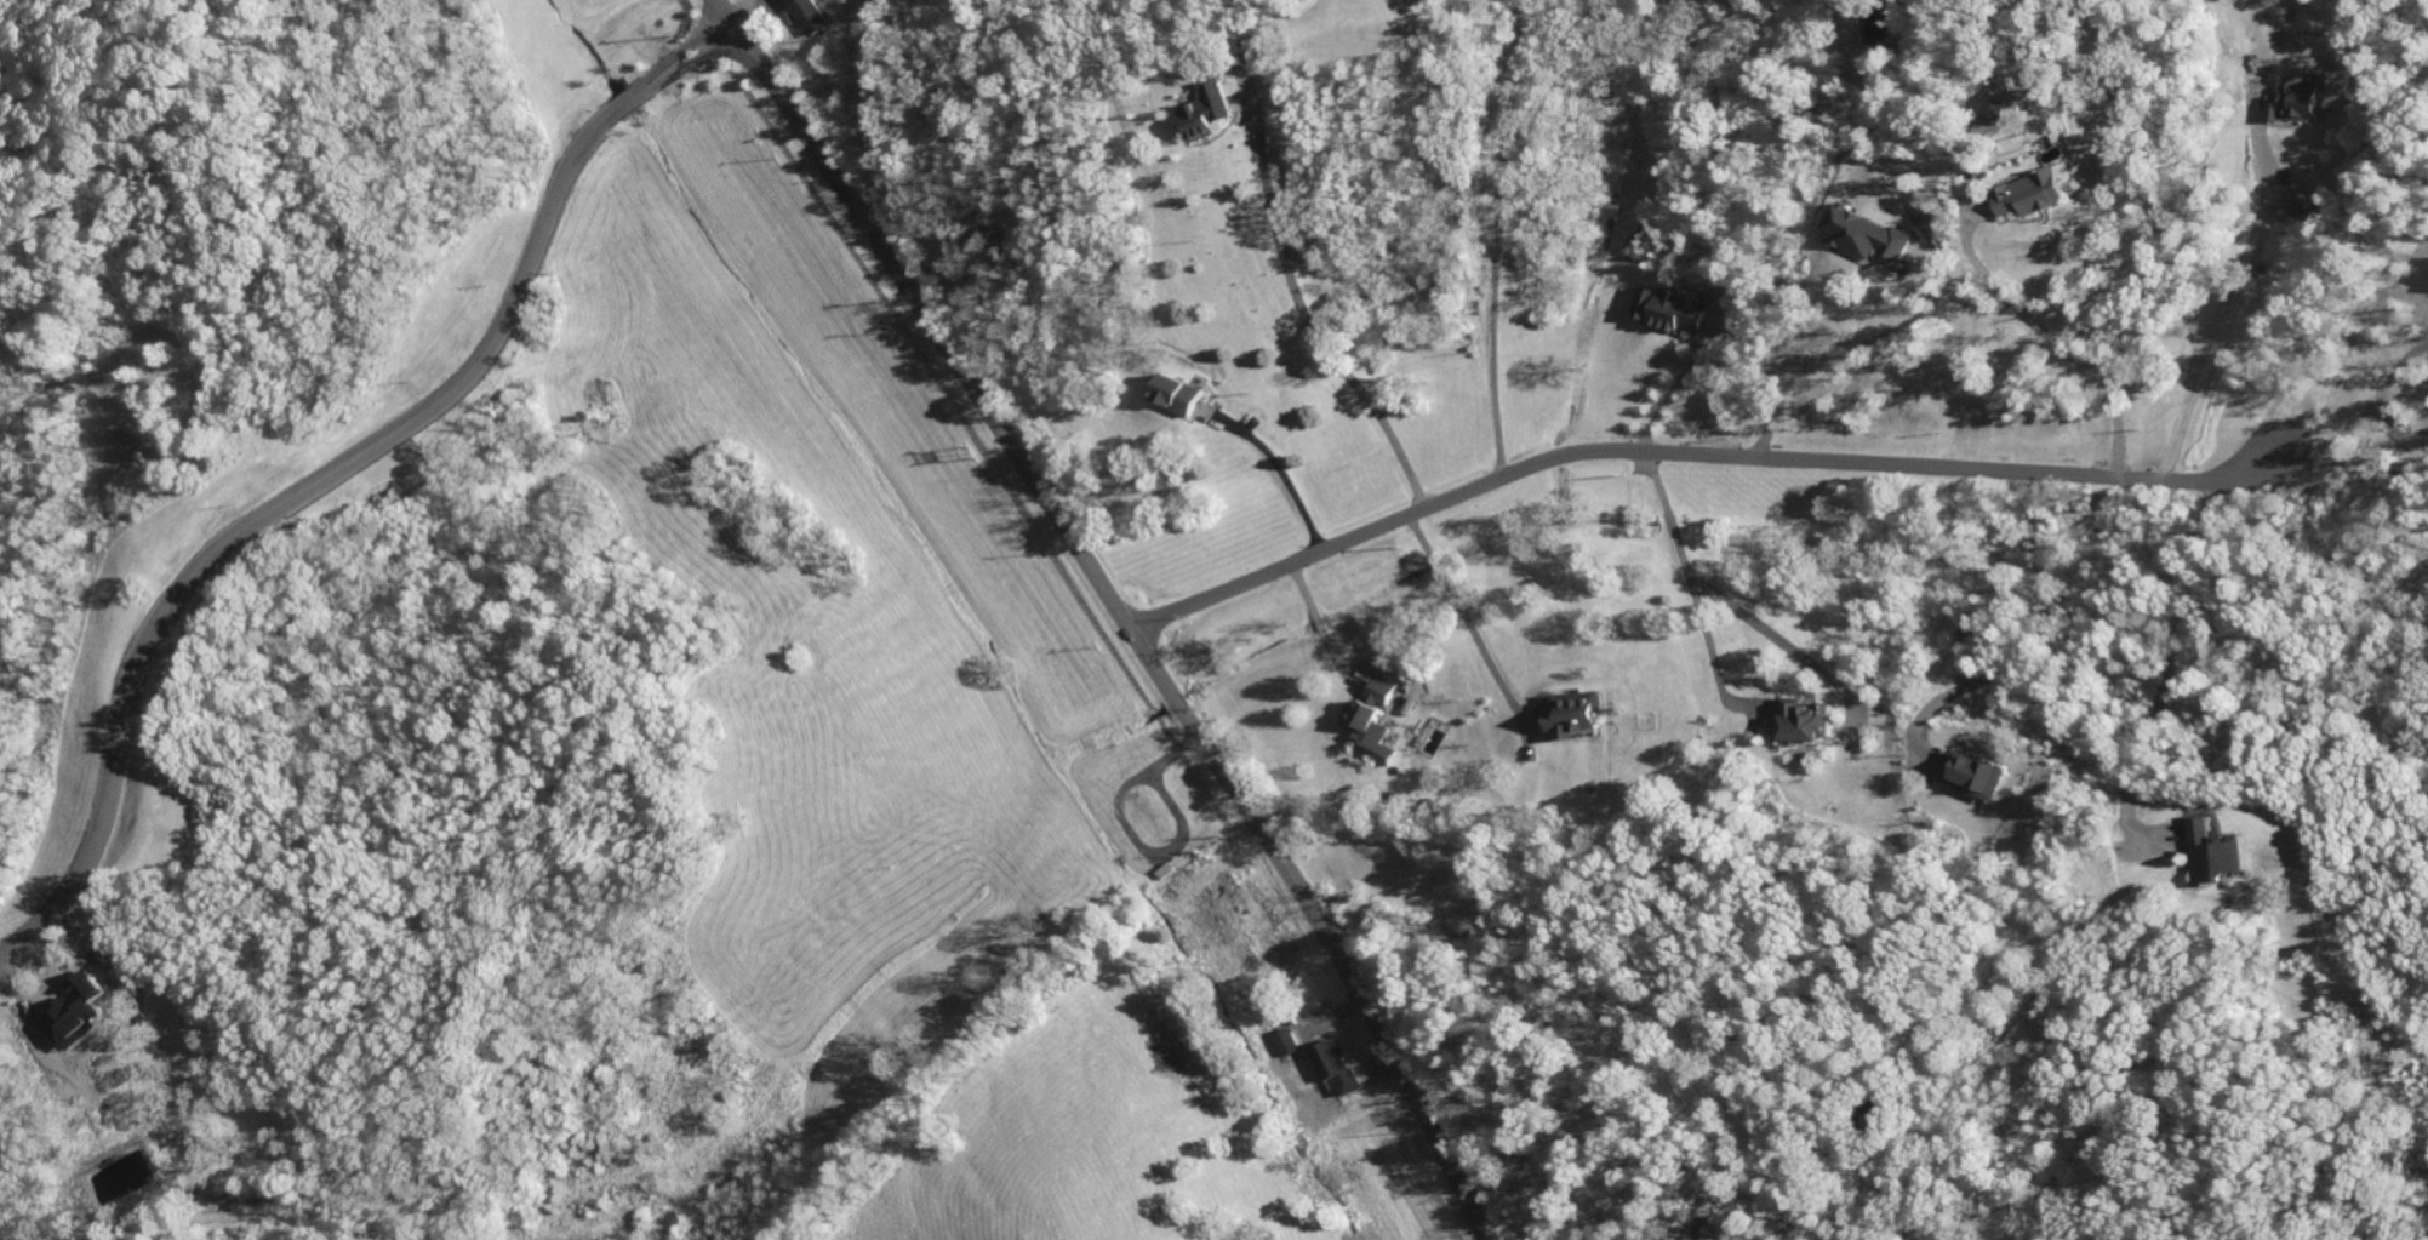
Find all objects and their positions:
building: (809, 16)
building: (2300, 99)
building: (1996, 110)
building: (1211, 112)
building: (2035, 194)
building: (1870, 234)
road: (1502, 235)
building: (1918, 255)
road: (2230, 297)
building: (1670, 310)
road: (1307, 335)
road: (2056, 345)
road: (1846, 360)
road: (2395, 368)
road: (1678, 385)
building: (1177, 394)
road: (2396, 419)
road: (2330, 441)
road: (1686, 451)
road: (1281, 470)
road: (335, 478)
road: (1692, 601)
road: (1116, 608)
road: (1463, 617)
road: (1324, 630)
road: (1793, 647)
road: (2034, 648)
road: (2169, 680)
building: (1578, 714)
building: (1811, 720)
building: (1372, 722)
building: (1976, 775)
building: (2217, 853)
building: (92, 988)
building: (1289, 1042)
building: (1333, 1059)

